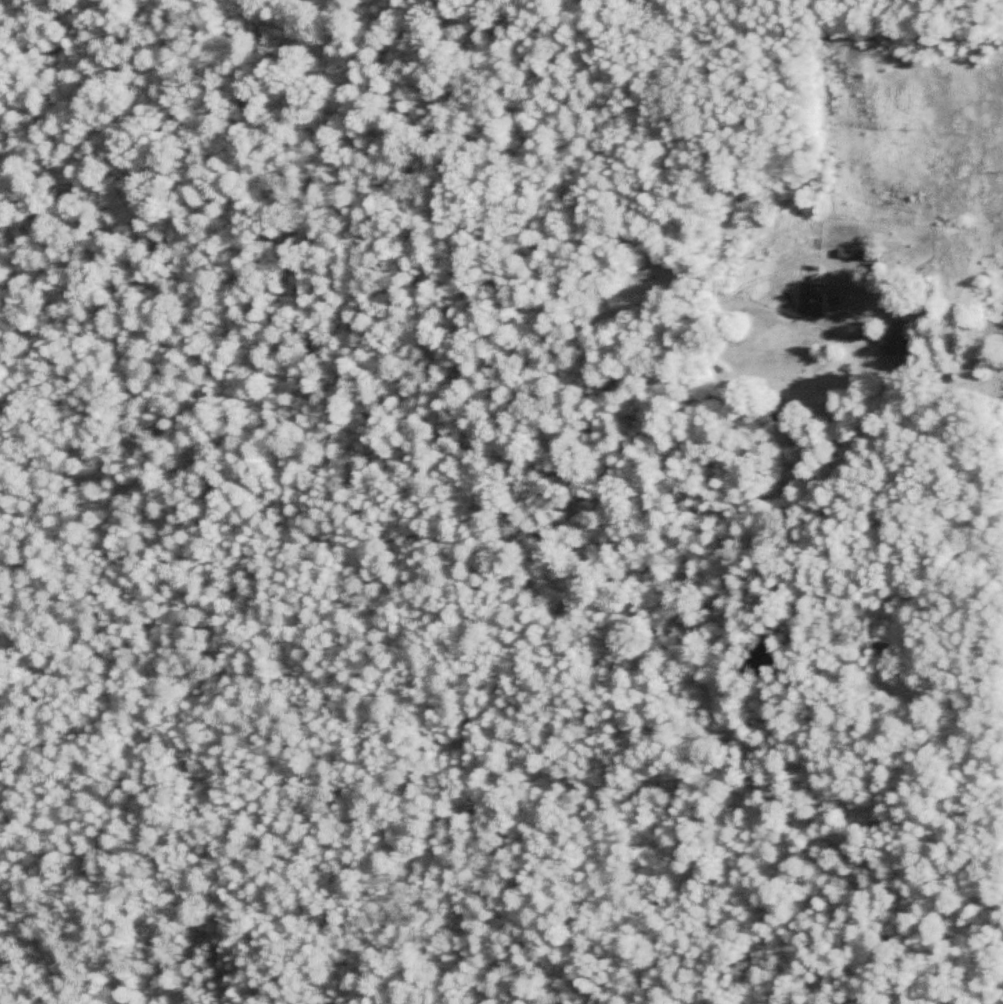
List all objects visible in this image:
building: (811, 300)
road: (924, 303)
building: (896, 337)

